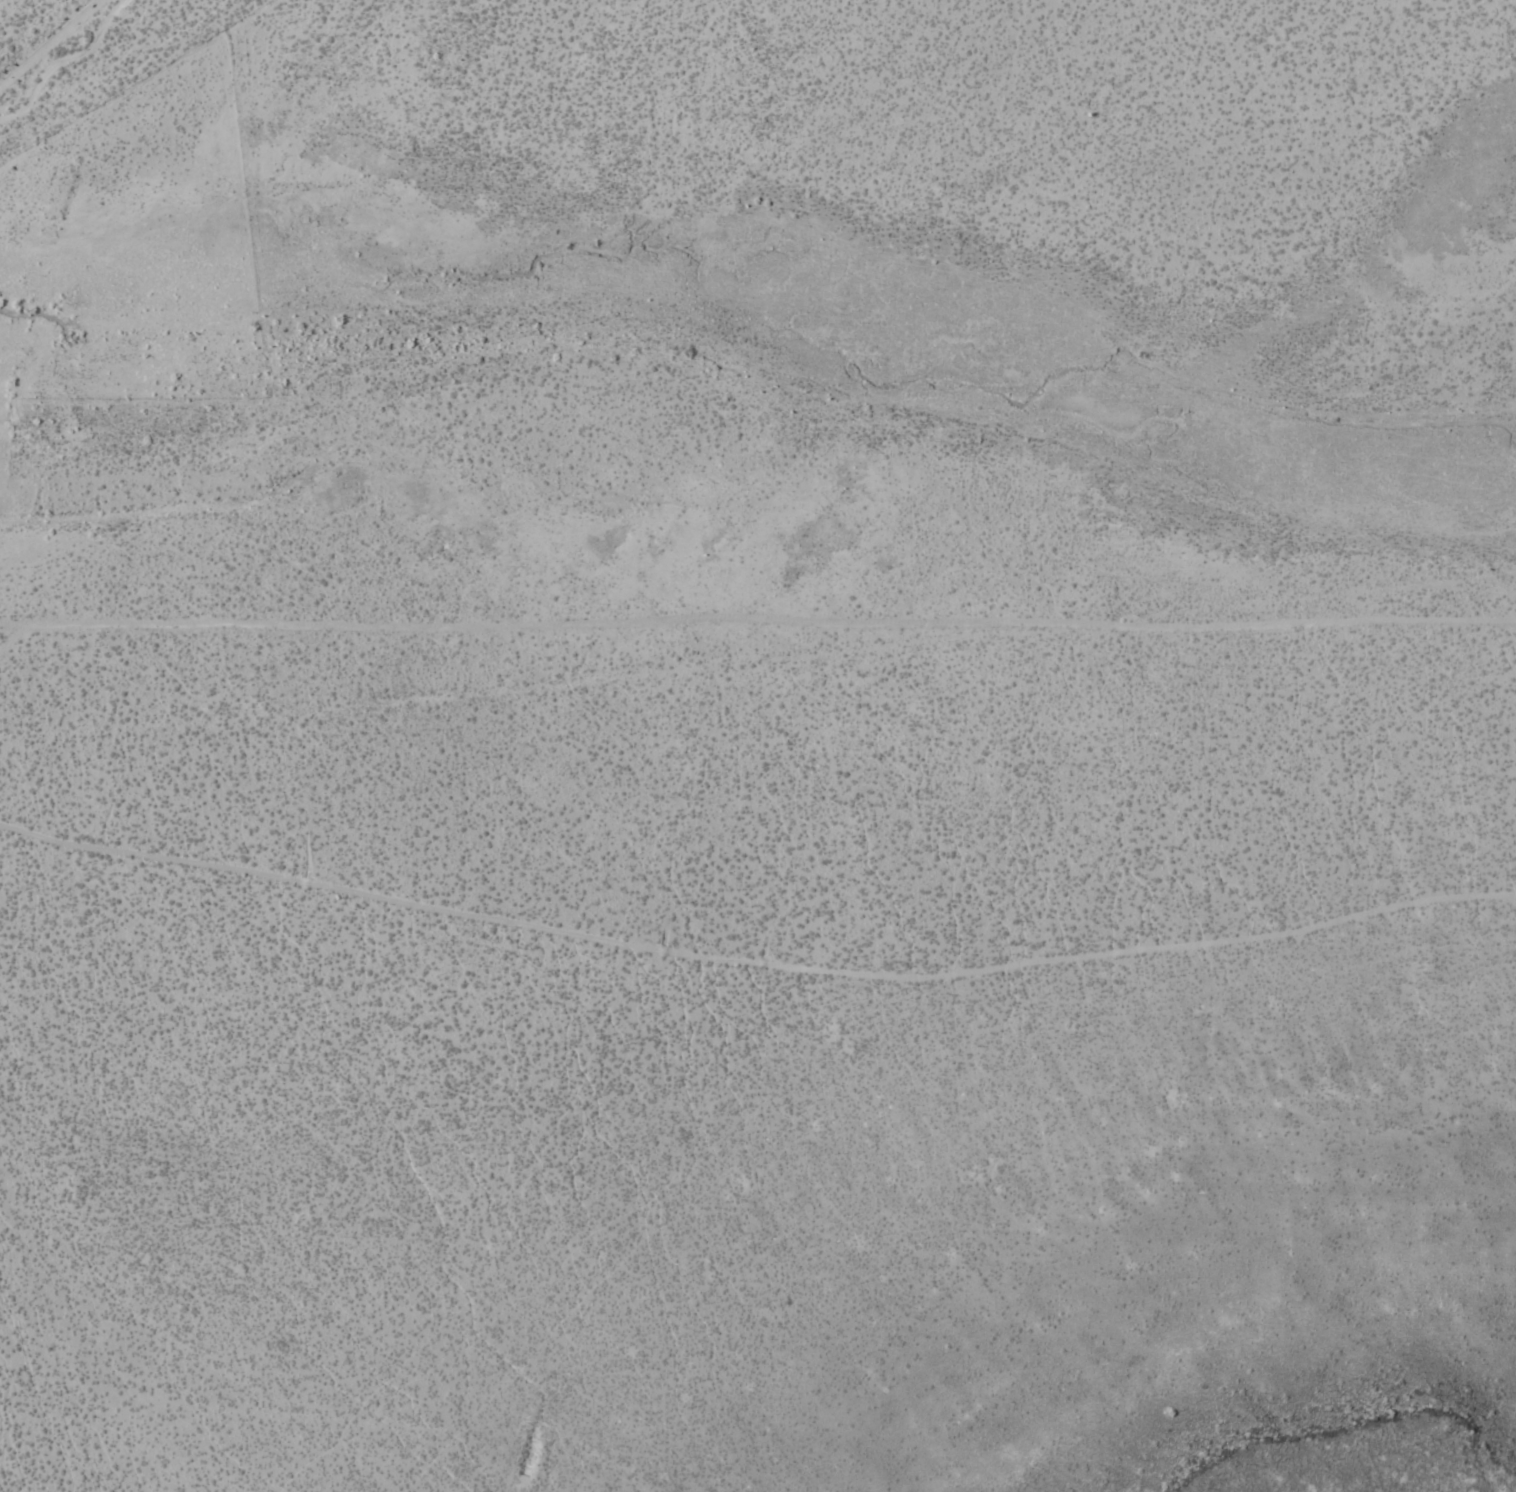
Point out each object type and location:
road: (58, 49)
road: (755, 955)

